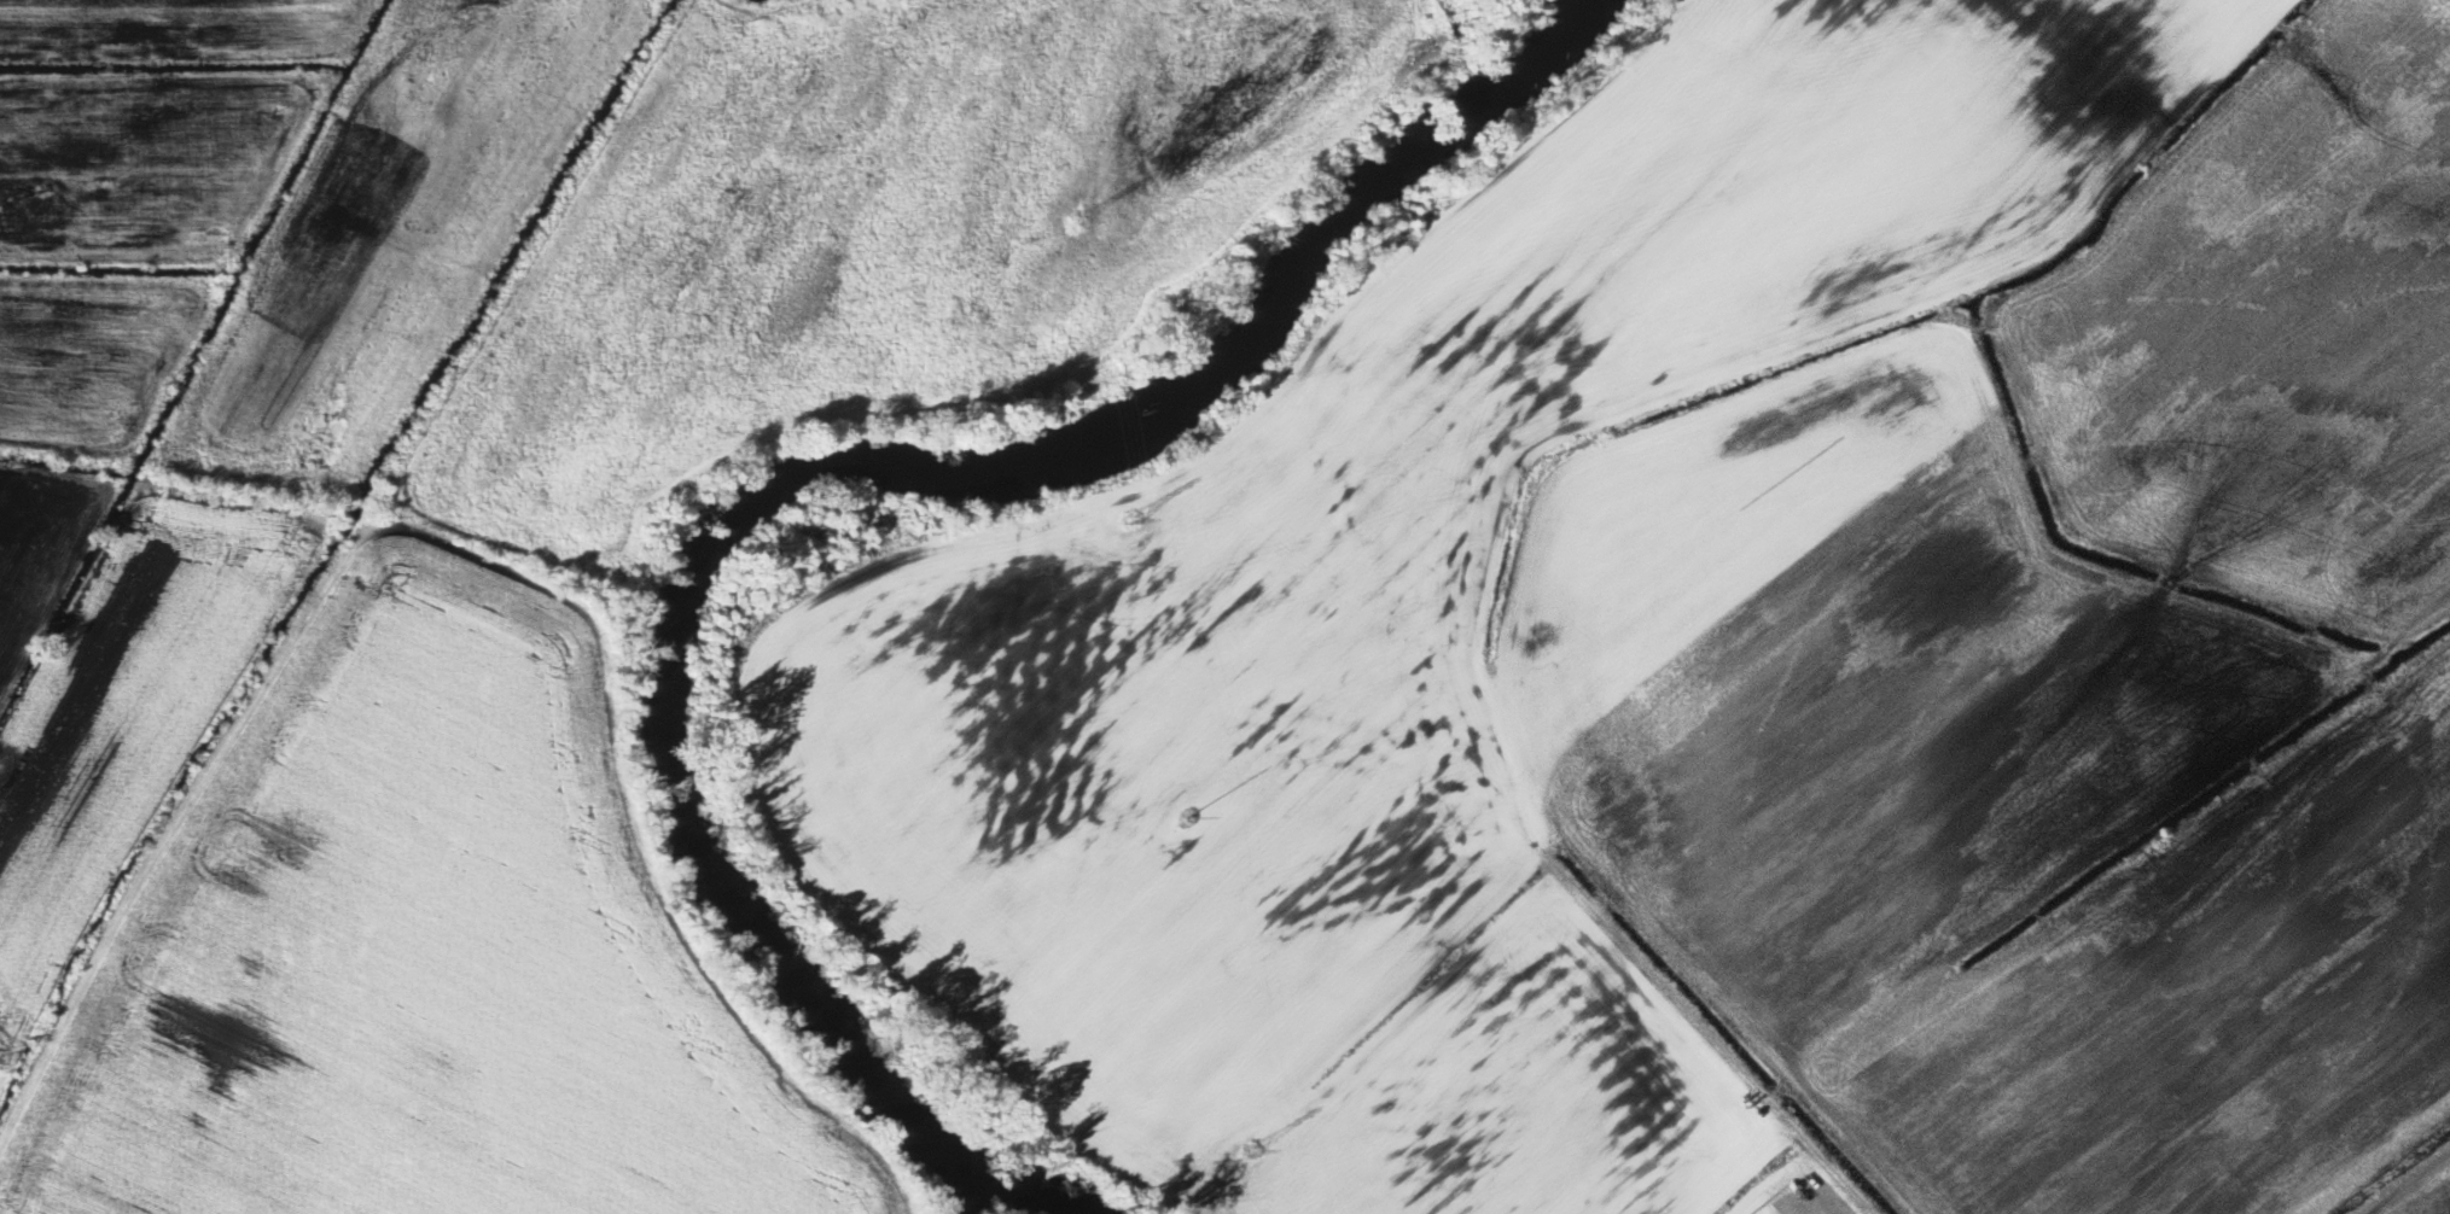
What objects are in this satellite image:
power tower: (458, 31)
power tower: (1071, 221)
river: (860, 468)
power tower: (1128, 520)
power tower: (1182, 819)
power tower: (1250, 1152)
river: (1013, 1193)

